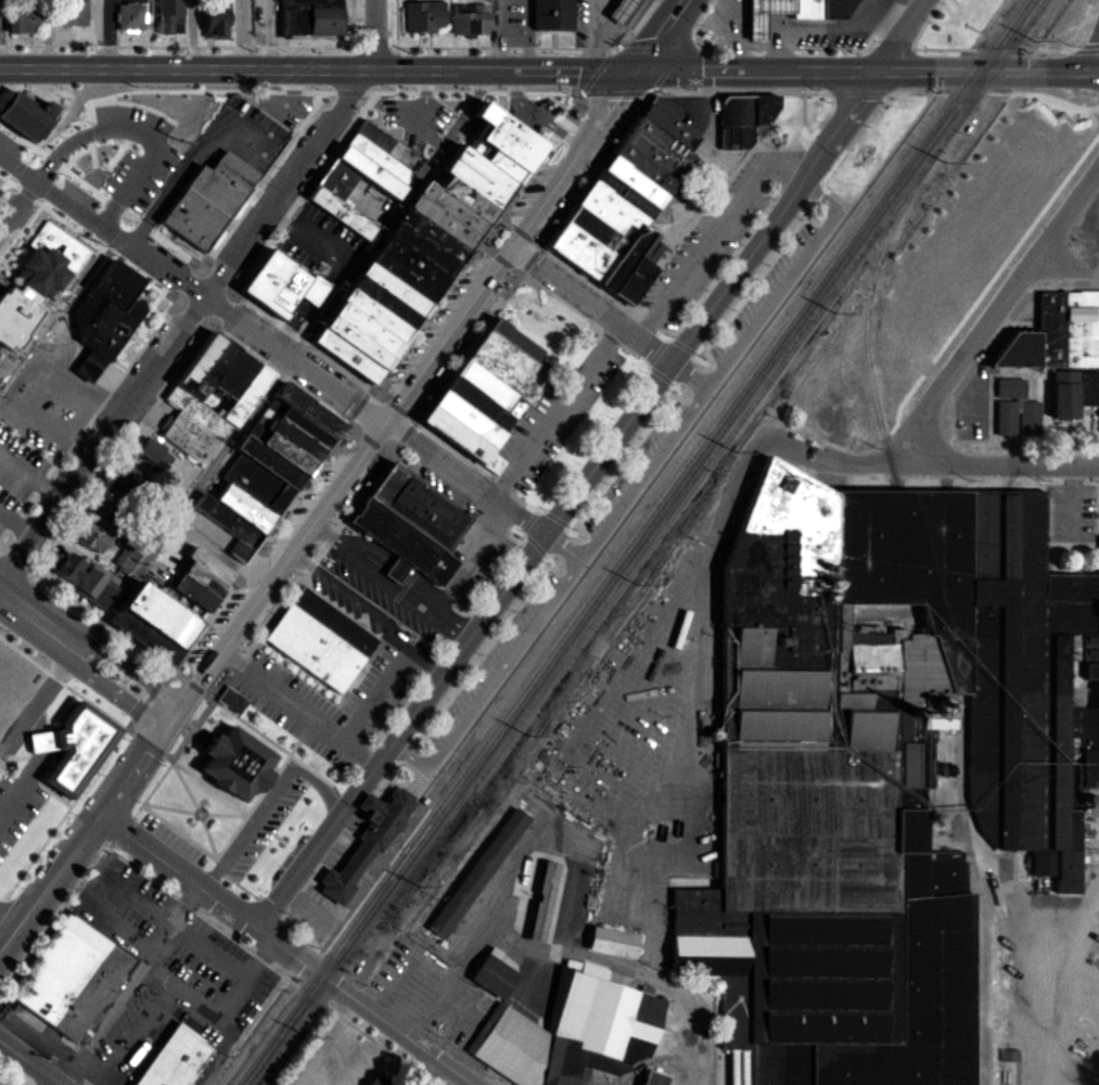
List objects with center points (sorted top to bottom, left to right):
building: (819, 9)
building: (614, 10)
building: (74, 13)
building: (549, 14)
building: (762, 15)
building: (170, 16)
building: (424, 16)
building: (131, 17)
building: (217, 18)
building: (309, 18)
building: (471, 20)
building: (22, 22)
road: (593, 24)
road: (662, 34)
road: (902, 34)
road: (378, 35)
railway: (1010, 35)
road: (296, 49)
road: (844, 52)
road: (590, 60)
traffic signals: (636, 68)
road: (867, 68)
road: (317, 69)
road: (673, 72)
road: (592, 73)
road: (961, 97)
road: (343, 98)
road: (102, 108)
parking lot: (541, 115)
road: (1094, 115)
building: (23, 117)
building: (744, 120)
parking lot: (420, 123)
road: (800, 123)
road: (546, 124)
road: (420, 126)
road: (145, 137)
parking lot: (244, 137)
road: (715, 144)
park: (876, 151)
road: (129, 154)
road: (94, 155)
parking lot: (140, 159)
road: (26, 168)
road: (17, 170)
road: (189, 170)
building: (358, 177)
road: (269, 187)
road: (8, 195)
road: (308, 195)
building: (632, 202)
road: (839, 203)
building: (209, 206)
road: (17, 207)
road: (397, 214)
road: (721, 234)
road: (21, 235)
parking lot: (320, 240)
parking lot: (717, 245)
building: (430, 246)
building: (41, 259)
road: (728, 267)
road: (1065, 268)
road: (577, 269)
park: (935, 272)
railway: (873, 282)
building: (282, 284)
road: (592, 306)
road: (193, 314)
building: (103, 316)
road: (994, 316)
road: (60, 321)
road: (27, 323)
road: (967, 324)
parking lot: (15, 327)
road: (184, 328)
park: (545, 330)
building: (1064, 337)
road: (687, 352)
road: (292, 358)
road: (692, 379)
road: (664, 381)
road: (363, 384)
building: (1010, 386)
building: (209, 391)
building: (1074, 394)
building: (474, 396)
road: (68, 399)
road: (394, 409)
building: (1057, 410)
road: (104, 412)
road: (563, 418)
parking lot: (560, 424)
parking lot: (41, 433)
road: (41, 438)
road: (597, 445)
railway: (719, 451)
building: (153, 454)
road: (672, 459)
road: (117, 461)
building: (270, 465)
road: (929, 469)
road: (374, 472)
road: (827, 475)
road: (29, 482)
road: (635, 493)
parking lot: (623, 497)
road: (573, 502)
road: (472, 503)
road: (182, 510)
parking lot: (1070, 512)
road: (320, 516)
building: (406, 518)
road: (582, 520)
road: (17, 524)
road: (558, 526)
road: (272, 532)
building: (94, 539)
railway: (627, 541)
road: (564, 550)
road: (2, 556)
building: (126, 560)
road: (465, 566)
building: (67, 567)
railway: (617, 577)
building: (194, 579)
building: (92, 582)
parking lot: (385, 585)
road: (383, 593)
parking lot: (345, 600)
road: (379, 609)
road: (368, 617)
building: (154, 621)
road: (105, 627)
building: (318, 641)
road: (90, 642)
road: (84, 669)
parking lot: (391, 678)
road: (65, 686)
road: (52, 695)
road: (372, 695)
building: (226, 704)
road: (244, 705)
road: (53, 707)
parking lot: (307, 711)
road: (296, 715)
road: (53, 741)
road: (40, 742)
parking lot: (646, 743)
building: (76, 745)
road: (586, 750)
road: (688, 750)
road: (150, 751)
road: (375, 752)
building: (232, 765)
building: (876, 767)
road: (166, 776)
road: (43, 789)
road: (26, 792)
road: (212, 793)
road: (413, 794)
road: (88, 795)
road: (270, 805)
road: (204, 814)
road: (177, 815)
road: (200, 816)
parking lot: (16, 819)
road: (231, 820)
parking lot: (266, 826)
road: (286, 846)
building: (358, 848)
building: (472, 877)
road: (553, 883)
road: (95, 894)
road: (69, 905)
building: (567, 907)
building: (534, 910)
road: (274, 912)
railway: (345, 922)
road: (10, 926)
building: (613, 944)
road: (289, 950)
road: (514, 952)
road: (248, 953)
road: (254, 958)
parking lot: (162, 979)
building: (485, 980)
building: (68, 982)
road: (162, 982)
road: (1069, 982)
building: (521, 988)
road: (138, 991)
parking lot: (422, 998)
road: (195, 1007)
building: (565, 1033)
road: (46, 1051)
building: (183, 1061)
road: (29, 1062)
road: (425, 1071)
building: (653, 1080)
building: (380, 1081)

